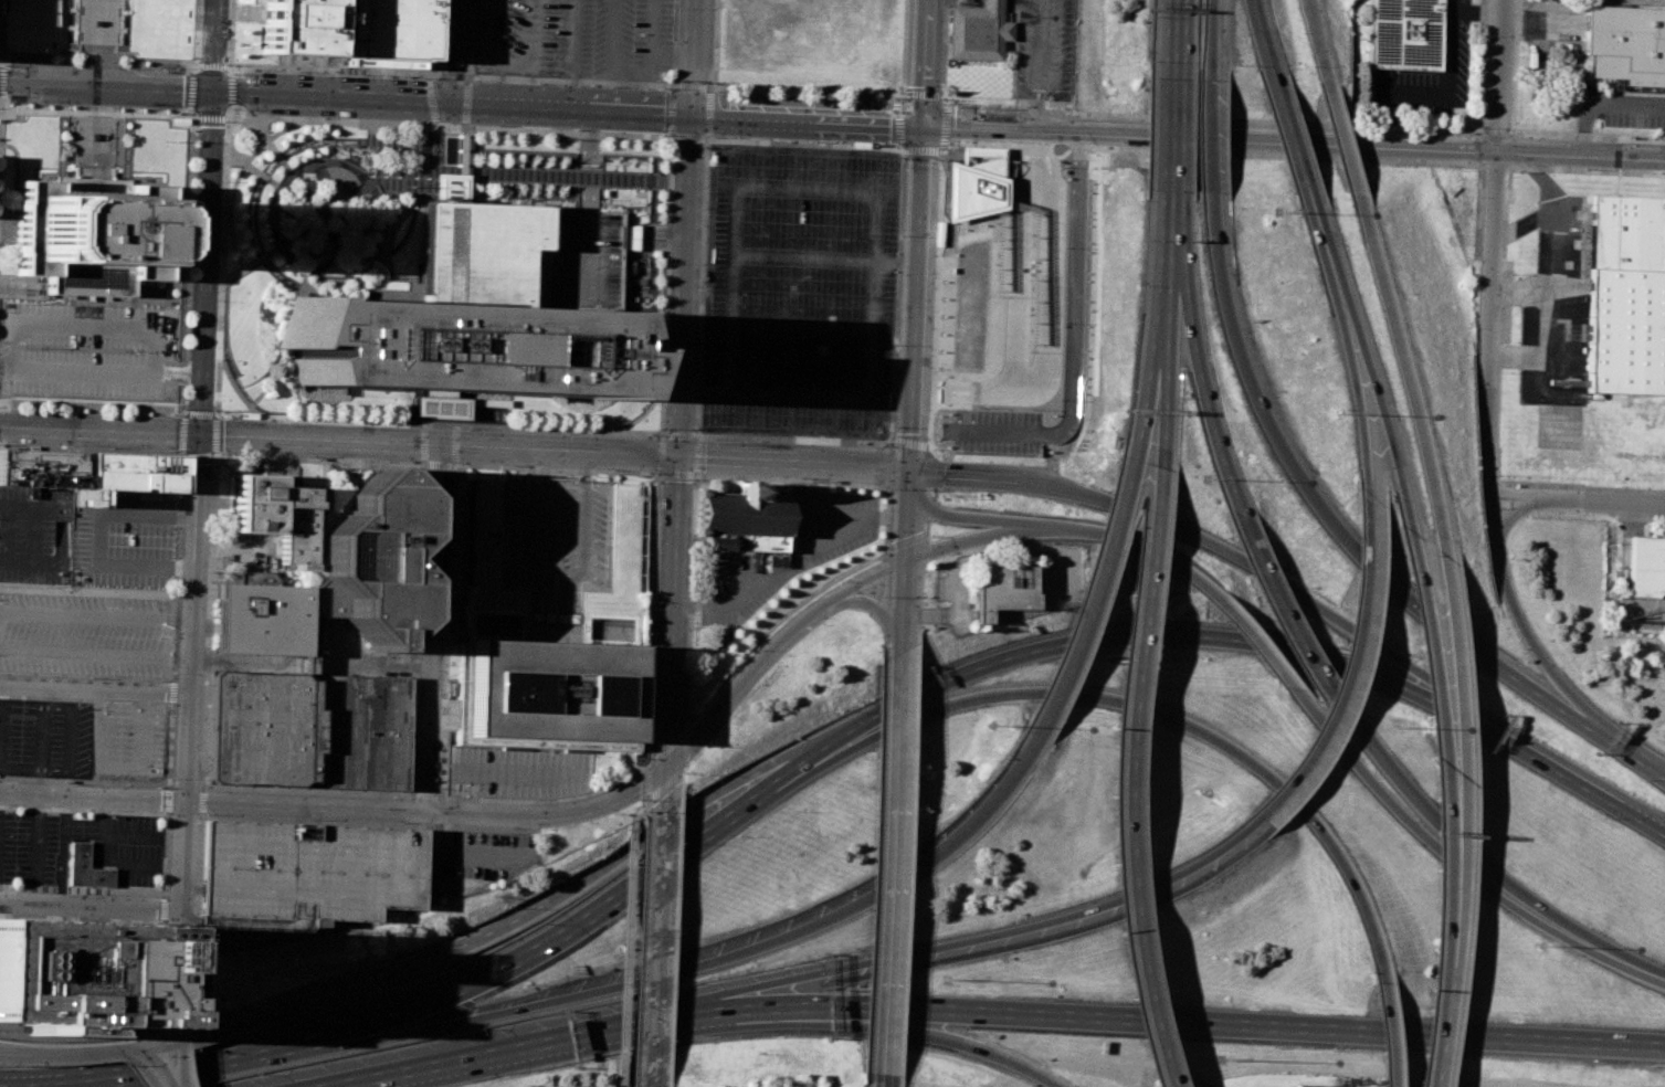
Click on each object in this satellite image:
road: (98, 0)
street lamp: (468, 2)
road: (259, 7)
road: (1478, 7)
street lamp: (677, 8)
road: (233, 12)
road: (245, 12)
road: (260, 13)
road: (1545, 19)
road: (256, 22)
road: (0, 27)
building: (295, 27)
building: (380, 31)
road: (905, 31)
road: (436, 32)
building: (978, 32)
road: (1257, 33)
building: (1402, 34)
road: (230, 35)
street lamp: (1480, 35)
road: (194, 36)
parking lot: (523, 36)
parking lot: (621, 39)
road: (1172, 40)
road: (1208, 40)
road: (102, 42)
road: (112, 42)
road: (611, 43)
road: (650, 43)
road: (673, 43)
building: (1626, 43)
road: (212, 46)
road: (1317, 46)
parking lot: (1045, 49)
road: (451, 50)
road: (1451, 51)
road: (571, 52)
road: (673, 52)
road: (326, 53)
road: (696, 55)
road: (96, 57)
street lamp: (41, 59)
street lamp: (440, 59)
street lamp: (82, 60)
street lamp: (197, 61)
road: (925, 61)
street lamp: (113, 62)
street lamp: (154, 63)
road: (509, 64)
road: (1042, 64)
street lamp: (6, 65)
street lamp: (159, 65)
road: (438, 65)
road: (1480, 65)
road: (1515, 65)
road: (95, 68)
road: (326, 68)
street lamp: (266, 70)
road: (196, 71)
street lamp: (299, 71)
street lamp: (188, 72)
road: (211, 72)
road: (230, 72)
street lamp: (322, 72)
road: (432, 72)
road: (451, 72)
street lamp: (233, 73)
street lamp: (365, 74)
road: (424, 76)
road: (466, 76)
road: (577, 76)
street lamp: (433, 77)
parking lot: (1426, 77)
street lamp: (674, 80)
road: (573, 81)
street lamp: (536, 82)
street lamp: (707, 83)
road: (560, 84)
street lamp: (608, 86)
road: (672, 86)
road: (713, 86)
street lamp: (941, 86)
road: (105, 87)
road: (628, 88)
street lamp: (664, 88)
road: (710, 88)
road: (230, 89)
road: (651, 89)
road: (700, 89)
road: (812, 89)
road: (194, 92)
traffic signals: (211, 93)
road: (1399, 94)
street lamp: (6, 95)
road: (903, 95)
street lamp: (891, 96)
traffic signals: (450, 101)
road: (453, 101)
road: (429, 102)
street lamp: (953, 103)
street lamp: (39, 104)
road: (464, 104)
road: (1604, 104)
street lamp: (80, 106)
street lamp: (110, 107)
street lamp: (1057, 107)
street lamp: (151, 108)
street lamp: (233, 108)
street lamp: (186, 110)
road: (230, 110)
traffic signals: (695, 110)
parking lot: (1634, 110)
road: (95, 112)
road: (194, 112)
road: (709, 113)
road: (75, 114)
road: (193, 114)
road: (944, 114)
road: (210, 115)
road: (1115, 115)
road: (2, 116)
road: (116, 116)
road: (225, 116)
road: (808, 116)
road: (672, 117)
street lamp: (319, 118)
road: (293, 119)
road: (167, 123)
road: (189, 123)
street lamp: (407, 123)
traffic signals: (923, 123)
street lamp: (493, 125)
road: (994, 126)
street lamp: (1475, 126)
street lamp: (572, 129)
road: (902, 133)
road: (1289, 133)
road: (1529, 133)
street lamp: (664, 134)
road: (1171, 135)
street lamp: (716, 136)
road: (1208, 137)
road: (708, 139)
flagpole: (165, 140)
street lamp: (811, 140)
road: (1366, 143)
road: (270, 144)
street lamp: (889, 144)
road: (1341, 144)
road: (444, 145)
road: (804, 145)
street lamp: (705, 147)
street lamp: (951, 148)
traffic signals: (1496, 149)
road: (1224, 152)
street lamp: (1389, 165)
road: (252, 167)
street lamp: (1587, 167)
street lamp: (1513, 170)
road: (1587, 170)
street lamp: (1655, 171)
road: (528, 172)
road: (236, 178)
street lamp: (221, 180)
flagpole: (401, 184)
road: (740, 187)
road: (672, 189)
road: (586, 200)
road: (1477, 211)
road: (1171, 220)
road: (1526, 224)
building: (89, 233)
street lamp: (219, 239)
road: (900, 240)
road: (1328, 240)
street lamp: (935, 245)
road: (1492, 247)
road: (193, 256)
road: (804, 258)
parking lot: (583, 260)
road: (185, 262)
road: (204, 262)
road: (896, 262)
road: (246, 266)
street lamp: (1505, 273)
road: (686, 283)
road: (665, 286)
road: (1558, 286)
road: (1525, 288)
building: (143, 291)
parking lot: (799, 292)
road: (896, 293)
road: (916, 296)
building: (1625, 297)
street lamp: (217, 300)
road: (1167, 300)
road: (893, 306)
road: (1061, 308)
building: (456, 318)
parking lot: (1553, 320)
road: (83, 326)
road: (802, 327)
street lamp: (895, 345)
parking lot: (87, 348)
road: (1522, 356)
street lamp: (214, 359)
road: (932, 361)
road: (99, 371)
street lamp: (1503, 372)
road: (1404, 373)
road: (218, 383)
road: (698, 383)
road: (1199, 383)
road: (1355, 389)
road: (704, 390)
road: (865, 395)
parking lot: (992, 395)
road: (297, 400)
road: (94, 403)
road: (177, 404)
road: (1147, 404)
road: (1379, 407)
road: (1498, 408)
street lamp: (213, 410)
road: (1161, 411)
road: (199, 413)
road: (217, 413)
road: (183, 414)
road: (239, 414)
road: (642, 414)
road: (1262, 414)
street lamp: (262, 419)
street lamp: (362, 424)
road: (481, 425)
street lamp: (466, 428)
street lamp: (695, 428)
road: (98, 430)
road: (182, 433)
traffic signals: (199, 433)
road: (215, 434)
road: (678, 435)
road: (696, 435)
street lamp: (707, 439)
street lamp: (927, 441)
road: (891, 443)
road: (438, 444)
street lamp: (876, 445)
road: (891, 445)
road: (181, 451)
road: (660, 454)
road: (694, 454)
road: (198, 456)
street lamp: (308, 456)
traffic signals: (677, 456)
road: (182, 457)
road: (717, 457)
road: (436, 464)
street lamp: (505, 464)
road: (833, 465)
building: (38, 468)
street lamp: (608, 468)
traffic signals: (910, 469)
building: (128, 472)
road: (676, 472)
road: (928, 472)
street lamp: (1500, 474)
road: (180, 475)
street lamp: (423, 476)
street lamp: (793, 477)
road: (981, 477)
flagpole: (549, 479)
flagpole: (565, 479)
street lamp: (657, 482)
street lamp: (1617, 485)
road: (1494, 490)
road: (927, 494)
street lamp: (953, 494)
road: (887, 497)
road: (1576, 500)
road: (928, 509)
building: (277, 516)
road: (957, 516)
road: (1641, 517)
building: (742, 518)
parking lot: (826, 523)
road: (855, 523)
road: (421, 524)
road: (450, 529)
street lamp: (888, 529)
road: (926, 531)
parking lot: (34, 535)
parking lot: (122, 538)
parking lot: (554, 539)
road: (1134, 539)
road: (969, 541)
road: (906, 546)
road: (924, 551)
road: (885, 553)
building: (373, 555)
street lamp: (1510, 558)
street lamp: (939, 560)
road: (907, 561)
traffic signals: (907, 562)
building: (1647, 567)
road: (885, 569)
road: (783, 572)
road: (552, 578)
street lamp: (841, 580)
road: (1288, 585)
building: (999, 589)
road: (96, 591)
parking lot: (728, 591)
road: (884, 591)
street lamp: (655, 600)
road: (920, 603)
road: (1641, 609)
road: (879, 610)
road: (1090, 610)
road: (877, 611)
road: (1285, 611)
road: (96, 615)
building: (272, 616)
road: (1521, 623)
road: (434, 629)
parking lot: (86, 634)
road: (671, 634)
road: (883, 637)
road: (1116, 637)
road: (1258, 639)
street lamp: (754, 648)
road: (95, 653)
road: (687, 664)
road: (1498, 664)
road: (1343, 667)
road: (190, 672)
road: (86, 675)
street lamp: (1573, 683)
road: (94, 689)
building: (549, 689)
road: (171, 692)
road: (1130, 705)
road: (204, 722)
road: (649, 725)
building: (308, 731)
parking lot: (77, 739)
road: (168, 742)
road: (684, 748)
road: (1441, 750)
road: (1630, 756)
road: (1459, 762)
road: (688, 763)
traffic signals: (667, 764)
road: (493, 770)
parking lot: (516, 772)
street lamp: (170, 778)
road: (1126, 779)
road: (647, 780)
road: (682, 782)
street lamp: (72, 783)
road: (1582, 783)
street lamp: (155, 787)
road: (425, 796)
road: (201, 801)
road: (647, 809)
road: (123, 812)
street lamp: (208, 813)
road: (168, 814)
road: (498, 816)
road: (274, 819)
road: (676, 824)
road: (1445, 824)
road: (1412, 829)
parking lot: (125, 852)
parking lot: (487, 854)
road: (909, 859)
road: (893, 864)
road: (875, 866)
building: (85, 869)
building: (299, 875)
parking garage: (299, 875)
road: (82, 890)
street lamp: (78, 893)
road: (89, 907)
street lamp: (193, 907)
road: (82, 918)
road: (1001, 932)
road: (676, 938)
road: (545, 946)
road: (661, 949)
road: (643, 953)
road: (1614, 957)
road: (161, 961)
road: (699, 968)
building: (76, 974)
road: (179, 974)
road: (383, 974)
road: (203, 1006)
road: (202, 1010)
road: (197, 1019)
road: (177, 1024)
road: (1260, 1026)
road: (1441, 1028)
road: (207, 1031)
road: (594, 1033)
road: (192, 1034)
road: (1388, 1035)
traffic signals: (179, 1039)
road: (958, 1039)
road: (180, 1044)
traffic signals: (137, 1047)
road: (89, 1052)
road: (143, 1054)
road: (154, 1065)
road: (192, 1067)
road: (182, 1068)
road: (158, 1073)
road: (866, 1079)
road: (883, 1080)
road: (900, 1081)
road: (670, 1084)
building: (1307, 1085)
road: (655, 1086)

